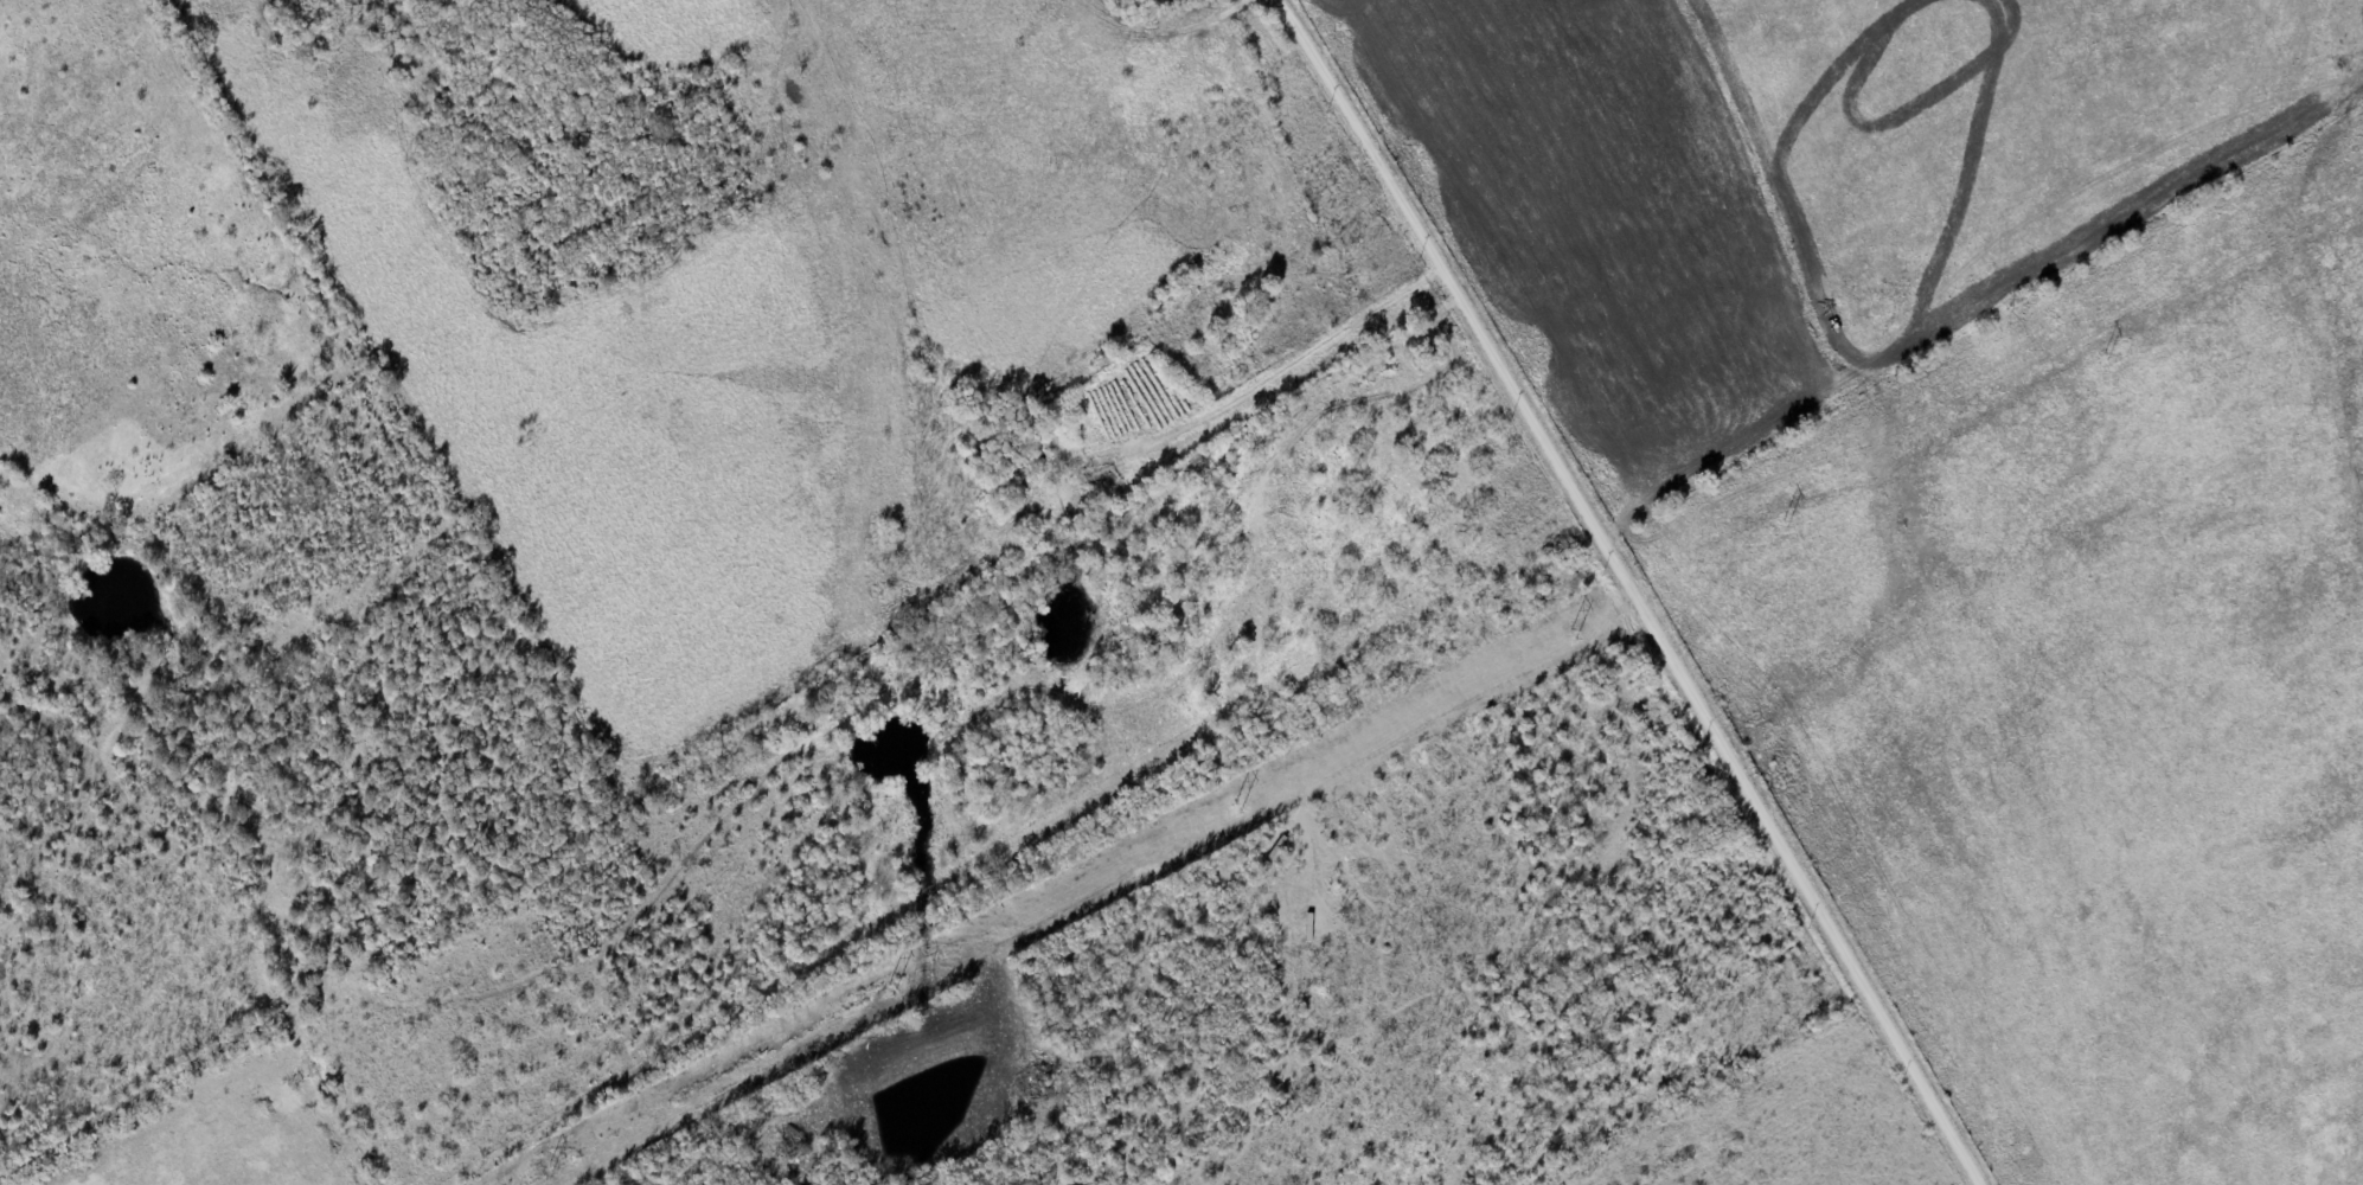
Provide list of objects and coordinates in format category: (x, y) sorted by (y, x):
power tower: (2108, 358)
power tower: (1786, 526)
road: (1638, 587)
power tower: (1574, 634)
power tower: (1237, 806)
power tower: (892, 988)
power tower: (551, 1166)

